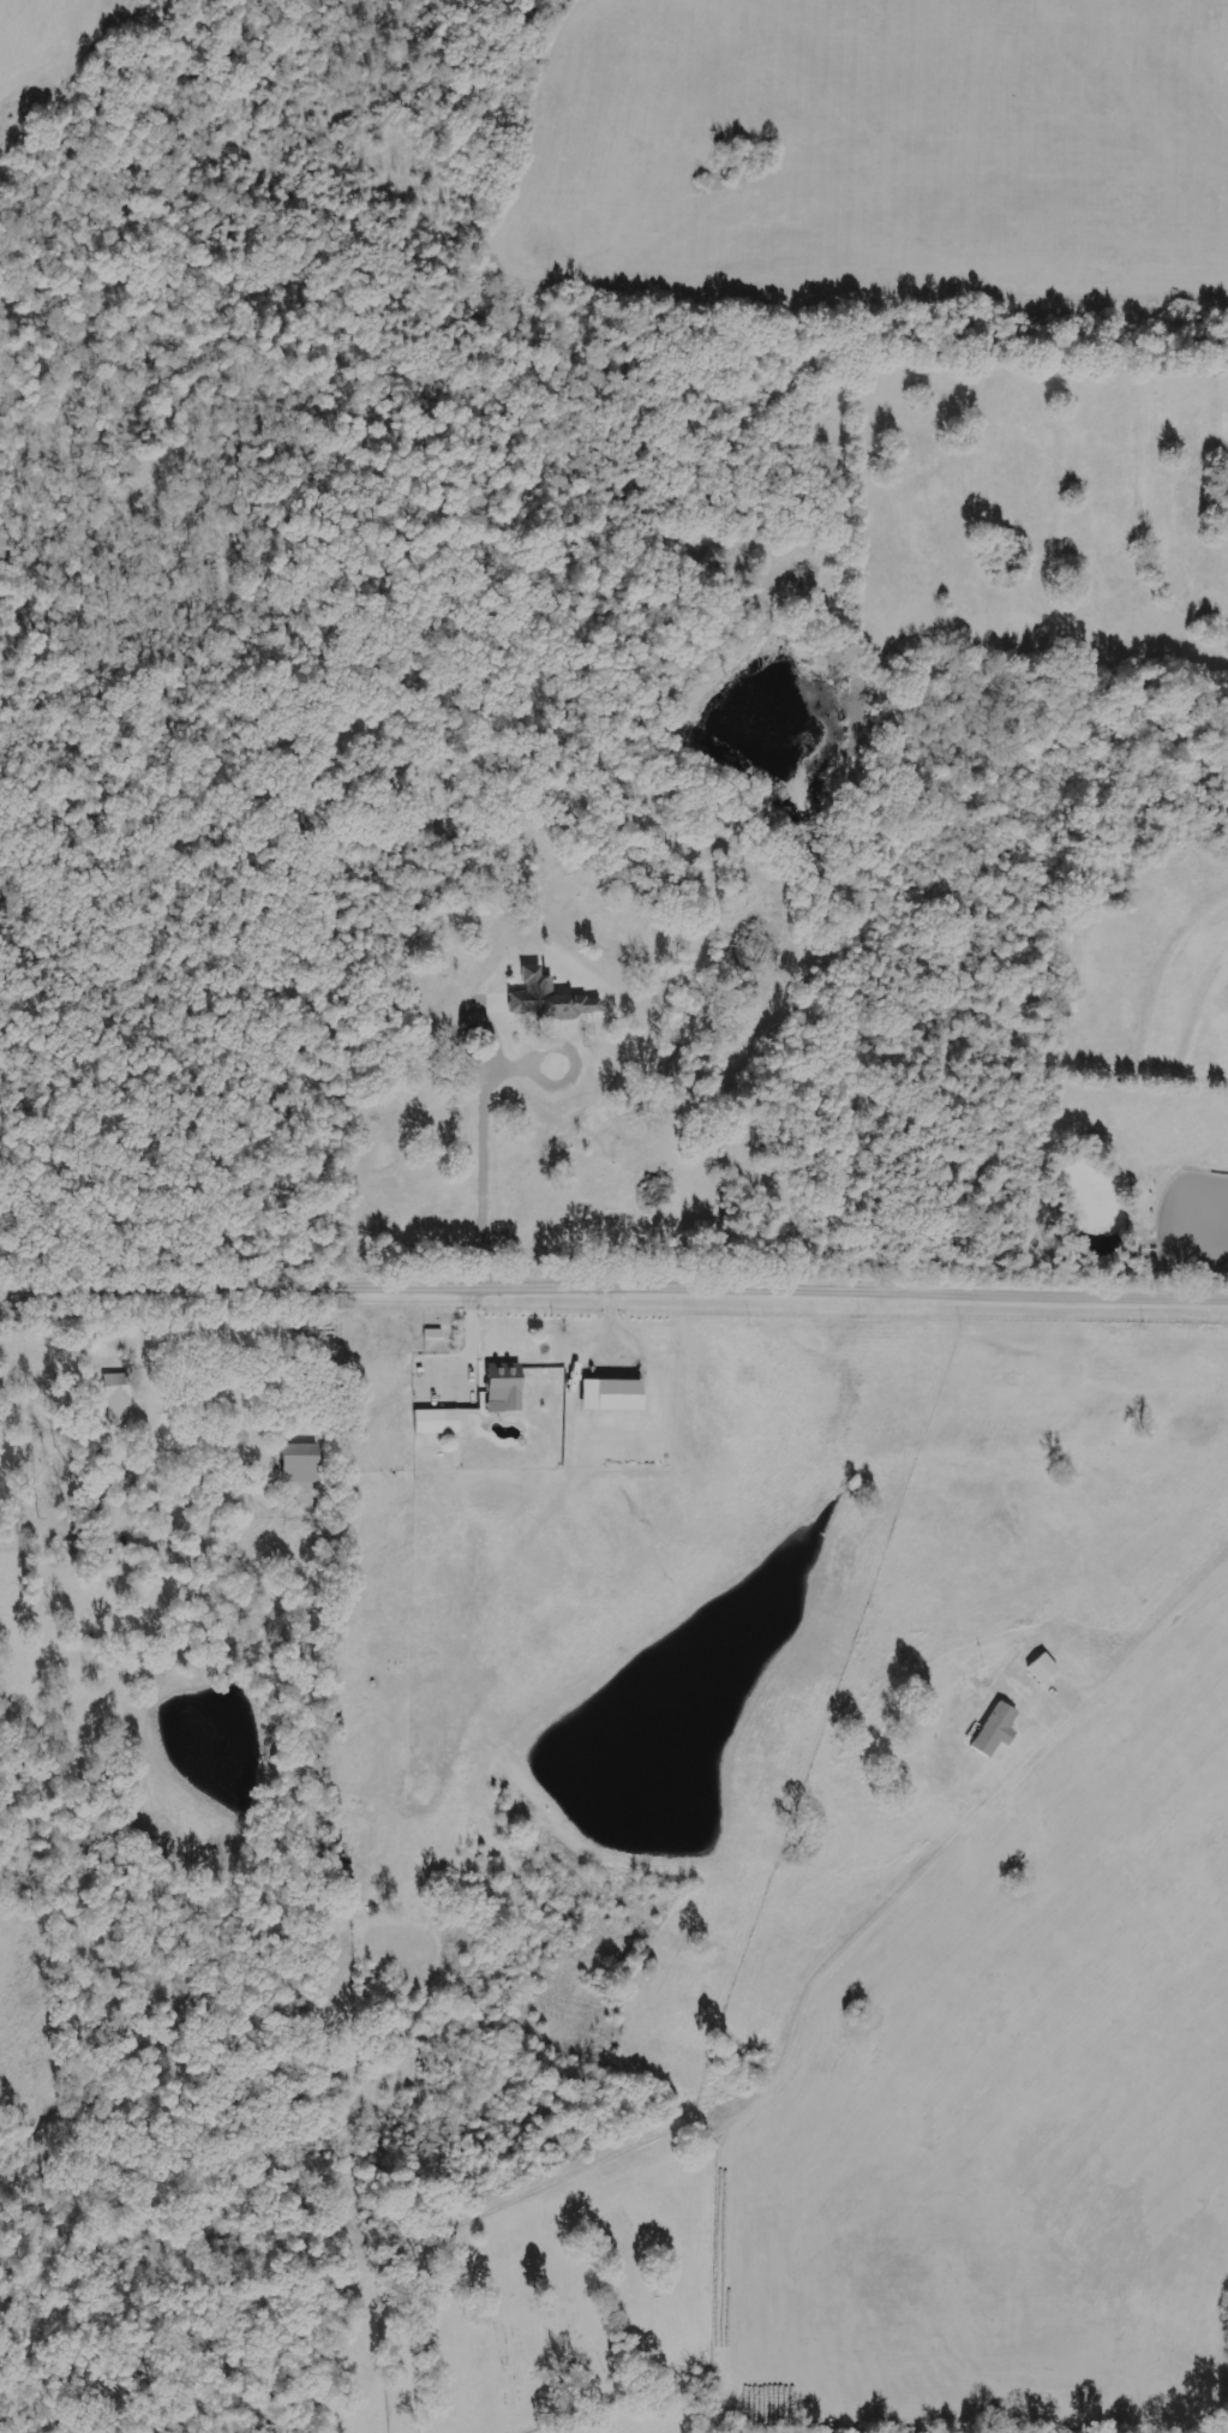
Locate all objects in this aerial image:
building: (549, 998)
road: (612, 1262)
building: (502, 1389)
building: (607, 1394)
building: (116, 1397)
building: (435, 1421)
building: (299, 1463)
building: (1041, 1668)
building: (993, 1729)
road: (963, 1840)
park: (553, 2300)

